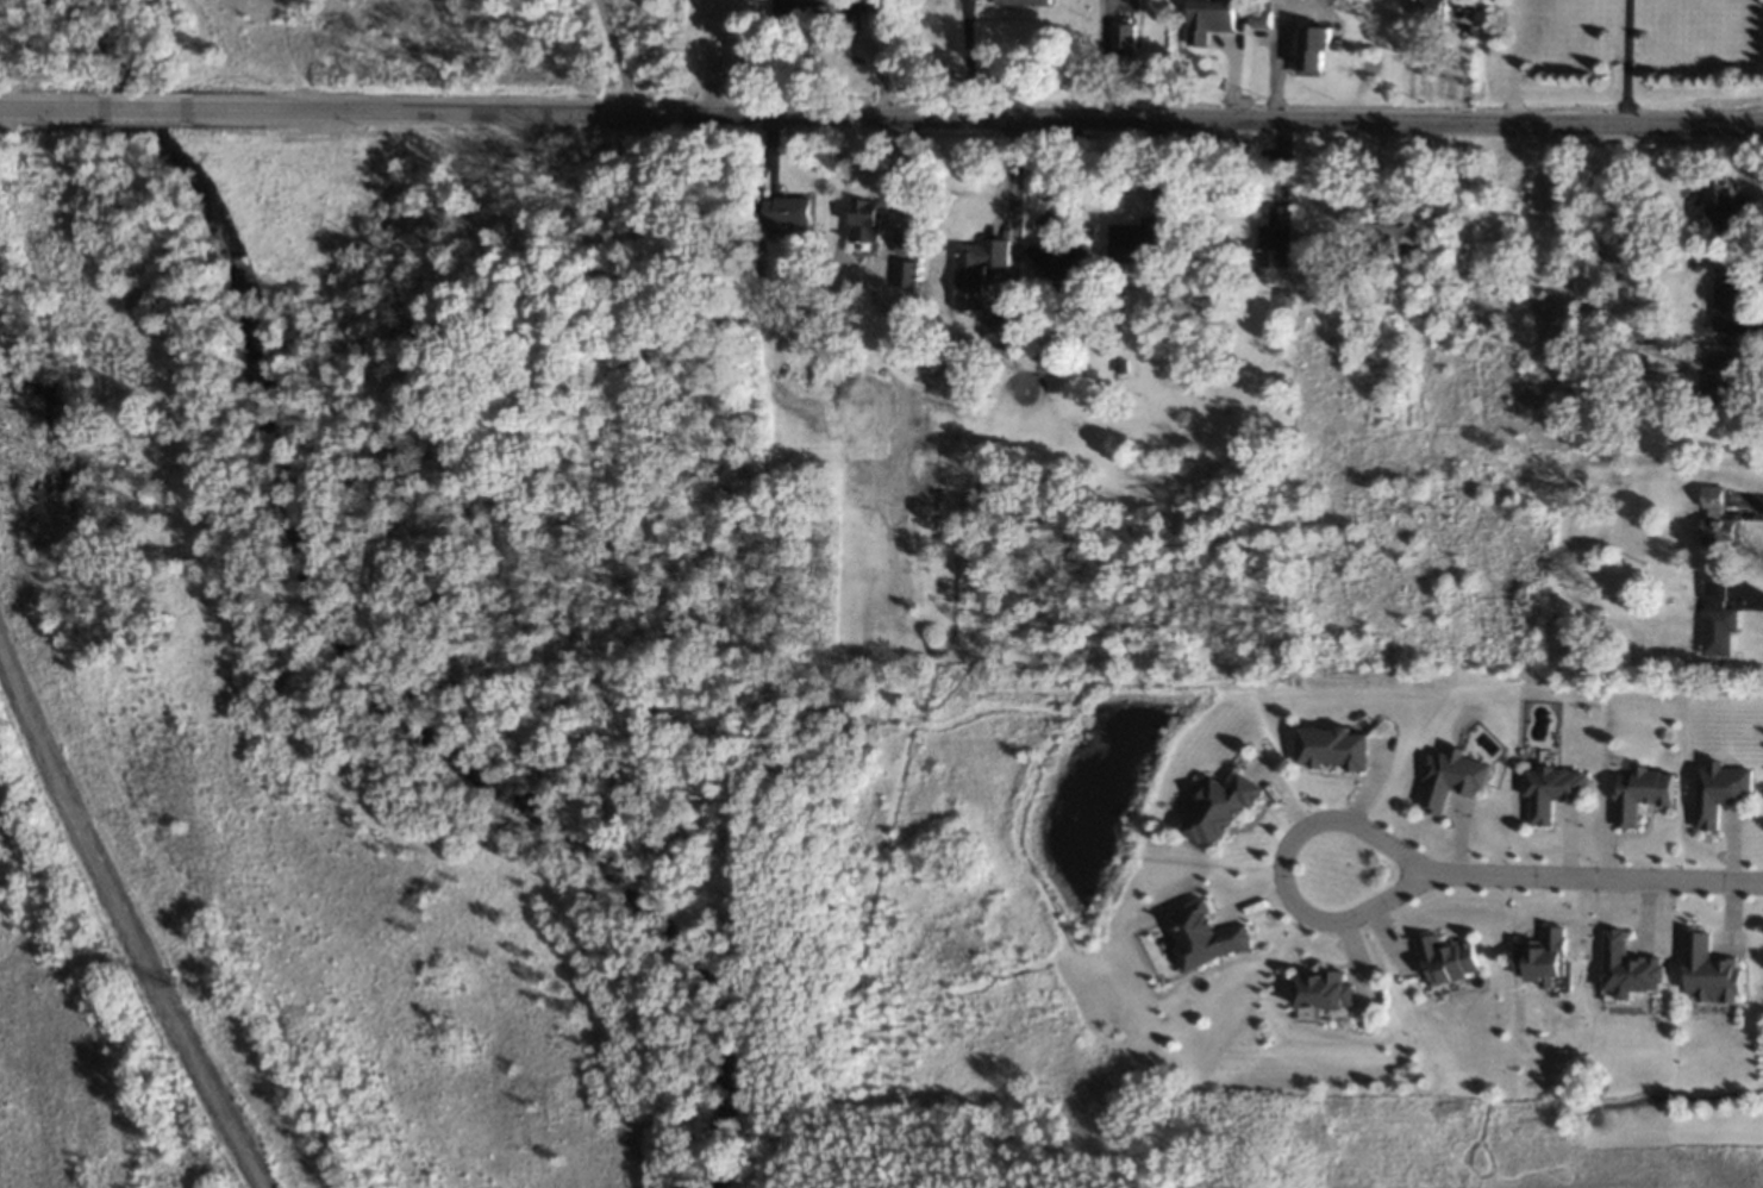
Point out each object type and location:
building: (1024, 2)
building: (856, 5)
building: (799, 6)
building: (890, 6)
building: (1431, 8)
building: (1262, 13)
building: (1209, 19)
building: (1124, 37)
park: (358, 48)
park: (732, 51)
building: (1314, 54)
road: (963, 58)
road: (1626, 62)
road: (54, 108)
road: (143, 108)
road: (970, 117)
building: (1727, 210)
building: (788, 211)
building: (868, 213)
building: (1276, 239)
building: (1390, 239)
building: (1138, 242)
building: (908, 243)
building: (1220, 261)
building: (1059, 262)
building: (1696, 264)
building: (977, 270)
building: (908, 273)
building: (1368, 294)
building: (1389, 295)
building: (1284, 298)
building: (1727, 299)
building: (1676, 308)
building: (996, 318)
building: (904, 355)
building: (1042, 355)
building: (1639, 358)
building: (944, 365)
building: (1123, 365)
building: (1056, 370)
building: (1720, 382)
building: (1718, 519)
building: (1717, 618)
river: (344, 646)
park: (513, 674)
building: (1333, 745)
building: (1452, 775)
building: (1553, 789)
building: (1720, 789)
building: (1643, 792)
building: (1220, 807)
road: (1287, 870)
road: (1594, 876)
building: (1206, 934)
building: (1544, 957)
building: (1448, 958)
building: (1628, 967)
building: (1711, 971)
building: (1324, 989)
park: (76, 1028)

